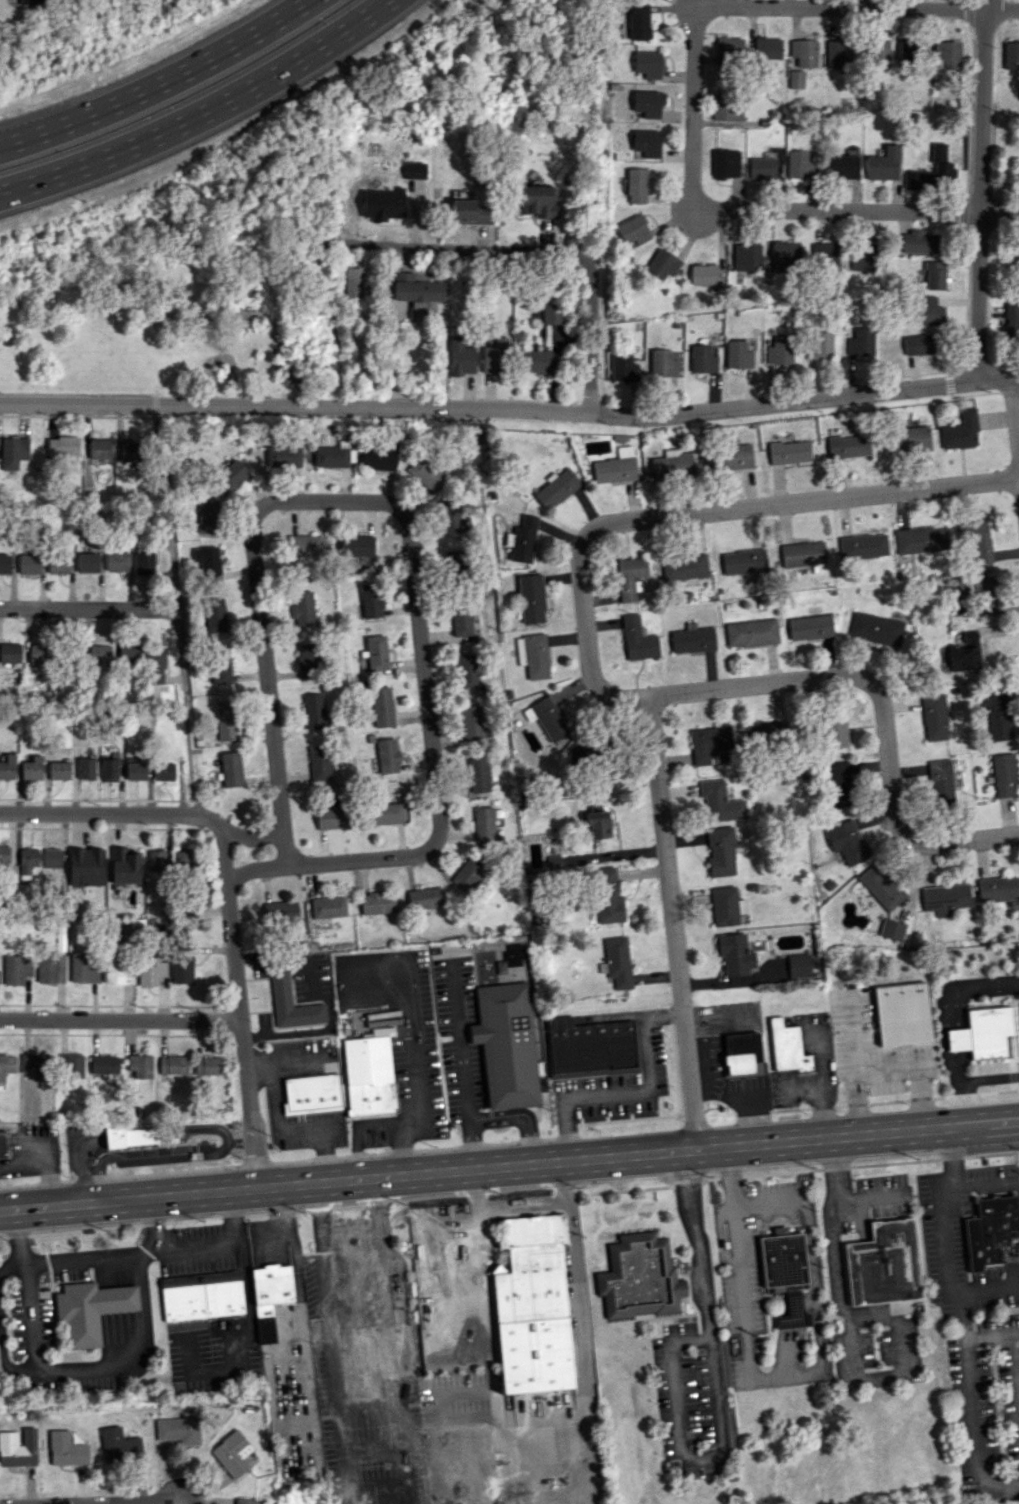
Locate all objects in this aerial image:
road: (720, 3)
road: (859, 7)
road: (684, 16)
building: (638, 22)
building: (767, 48)
building: (729, 50)
building: (905, 51)
building: (804, 52)
building: (838, 53)
building: (878, 54)
building: (946, 54)
building: (1010, 55)
building: (647, 64)
building: (796, 79)
road: (158, 83)
building: (647, 103)
building: (726, 107)
road: (202, 114)
building: (645, 143)
building: (940, 162)
building: (725, 163)
building: (883, 164)
building: (799, 165)
building: (762, 166)
building: (841, 167)
building: (414, 170)
building: (915, 180)
building: (634, 185)
road: (978, 190)
building: (538, 201)
building: (382, 204)
road: (761, 210)
building: (469, 212)
road: (685, 225)
building: (633, 230)
building: (918, 243)
road: (460, 249)
building: (1017, 253)
building: (785, 254)
building: (824, 256)
building: (862, 256)
building: (746, 257)
building: (662, 264)
road: (421, 267)
building: (703, 274)
building: (934, 275)
building: (353, 283)
building: (415, 289)
park: (167, 295)
building: (926, 310)
building: (550, 314)
building: (1011, 317)
road: (390, 326)
building: (860, 343)
road: (591, 344)
building: (918, 344)
building: (819, 346)
building: (779, 350)
building: (737, 355)
building: (460, 357)
building: (494, 357)
building: (701, 359)
building: (535, 361)
building: (662, 363)
building: (622, 368)
road: (510, 413)
road: (1014, 430)
building: (960, 431)
building: (907, 439)
building: (62, 446)
building: (847, 446)
building: (99, 448)
building: (12, 452)
building: (788, 452)
building: (282, 456)
building: (331, 457)
building: (379, 457)
building: (730, 458)
building: (671, 465)
building: (615, 467)
building: (425, 474)
building: (229, 477)
building: (556, 488)
road: (362, 503)
road: (695, 514)
building: (206, 516)
building: (451, 517)
building: (976, 538)
building: (523, 539)
building: (919, 539)
building: (304, 545)
building: (357, 545)
building: (862, 546)
building: (804, 553)
building: (116, 561)
building: (87, 562)
building: (143, 562)
building: (207, 562)
building: (744, 562)
building: (4, 564)
building: (28, 564)
building: (57, 564)
building: (684, 567)
building: (453, 568)
building: (630, 578)
building: (976, 588)
building: (530, 599)
building: (370, 600)
road: (88, 608)
building: (302, 608)
road: (176, 611)
building: (214, 615)
building: (460, 622)
building: (810, 627)
building: (875, 629)
building: (751, 633)
building: (637, 639)
building: (692, 639)
building: (10, 652)
building: (375, 652)
building: (964, 653)
building: (39, 654)
building: (129, 654)
building: (99, 655)
building: (532, 655)
building: (307, 660)
building: (155, 665)
building: (219, 666)
building: (467, 670)
building: (381, 707)
road: (880, 707)
building: (313, 711)
building: (995, 713)
building: (545, 717)
building: (934, 717)
building: (224, 721)
building: (472, 723)
building: (831, 729)
building: (764, 734)
building: (708, 743)
building: (387, 756)
building: (318, 763)
building: (7, 767)
building: (32, 768)
building: (85, 769)
building: (231, 769)
building: (58, 770)
building: (109, 770)
building: (135, 771)
building: (163, 772)
building: (477, 775)
building: (1003, 775)
building: (940, 781)
building: (837, 784)
building: (719, 802)
building: (385, 814)
road: (101, 816)
building: (331, 818)
road: (211, 824)
building: (483, 824)
building: (597, 825)
road: (251, 838)
building: (846, 841)
building: (720, 851)
road: (614, 854)
building: (3, 857)
building: (51, 858)
building: (181, 858)
building: (156, 860)
building: (27, 861)
building: (125, 865)
building: (85, 866)
building: (467, 873)
building: (880, 887)
building: (998, 888)
building: (607, 896)
building: (424, 898)
building: (944, 898)
building: (377, 902)
building: (725, 906)
building: (328, 907)
building: (280, 912)
road: (673, 924)
building: (891, 929)
building: (734, 954)
building: (52, 961)
building: (616, 962)
building: (798, 966)
building: (83, 967)
building: (16, 969)
building: (115, 969)
building: (182, 969)
building: (150, 971)
building: (291, 1002)
road: (242, 1008)
road: (949, 1010)
building: (903, 1013)
road: (122, 1020)
building: (984, 1034)
road: (458, 1044)
building: (505, 1045)
building: (589, 1045)
building: (786, 1047)
building: (742, 1054)
building: (31, 1063)
building: (104, 1064)
building: (6, 1065)
building: (140, 1065)
building: (173, 1065)
building: (71, 1066)
building: (207, 1066)
building: (369, 1077)
road: (989, 1078)
road: (630, 1091)
building: (311, 1094)
road: (963, 1106)
road: (521, 1114)
building: (132, 1136)
road: (471, 1144)
building: (3, 1145)
road: (509, 1166)
road: (982, 1185)
road: (476, 1190)
road: (869, 1199)
road: (766, 1205)
road: (540, 1206)
road: (450, 1222)
road: (150, 1227)
building: (991, 1230)
road: (945, 1232)
road: (322, 1257)
road: (391, 1258)
road: (738, 1260)
building: (883, 1264)
road: (11, 1269)
building: (785, 1273)
building: (638, 1277)
building: (353, 1283)
building: (201, 1296)
building: (269, 1297)
building: (531, 1308)
building: (89, 1310)
road: (816, 1316)
road: (849, 1334)
road: (329, 1340)
road: (1018, 1341)
road: (2, 1361)
road: (121, 1365)
road: (715, 1393)
road: (971, 1403)
road: (397, 1410)
road: (337, 1427)
building: (178, 1430)
building: (119, 1446)
building: (18, 1447)
building: (66, 1449)
building: (231, 1454)
road: (176, 1486)
building: (243, 1501)
road: (137, 1503)

